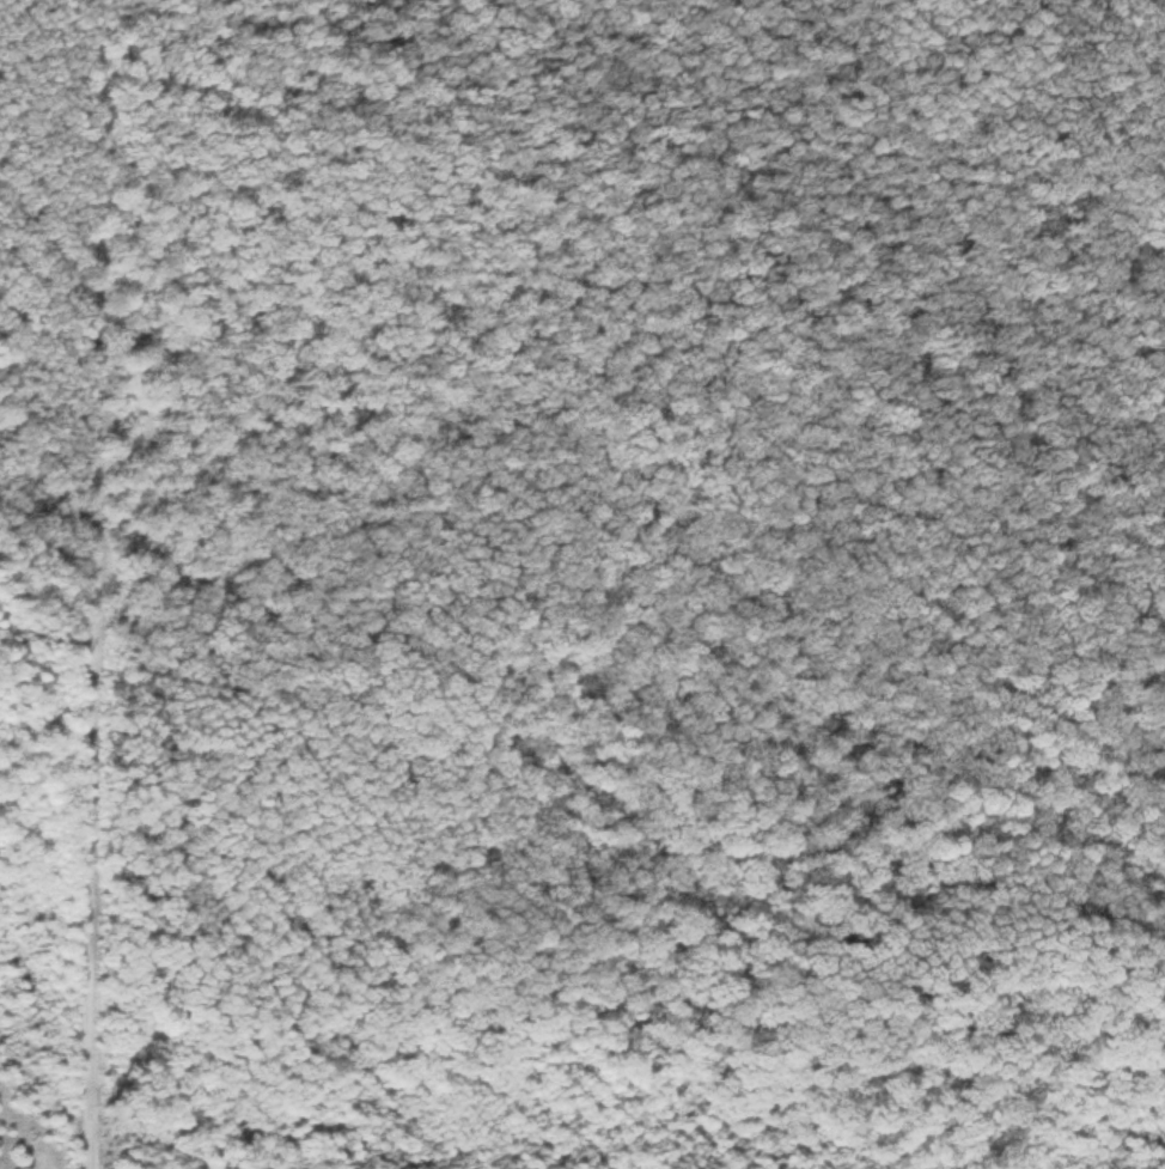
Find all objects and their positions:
road: (108, 152)
road: (100, 664)

